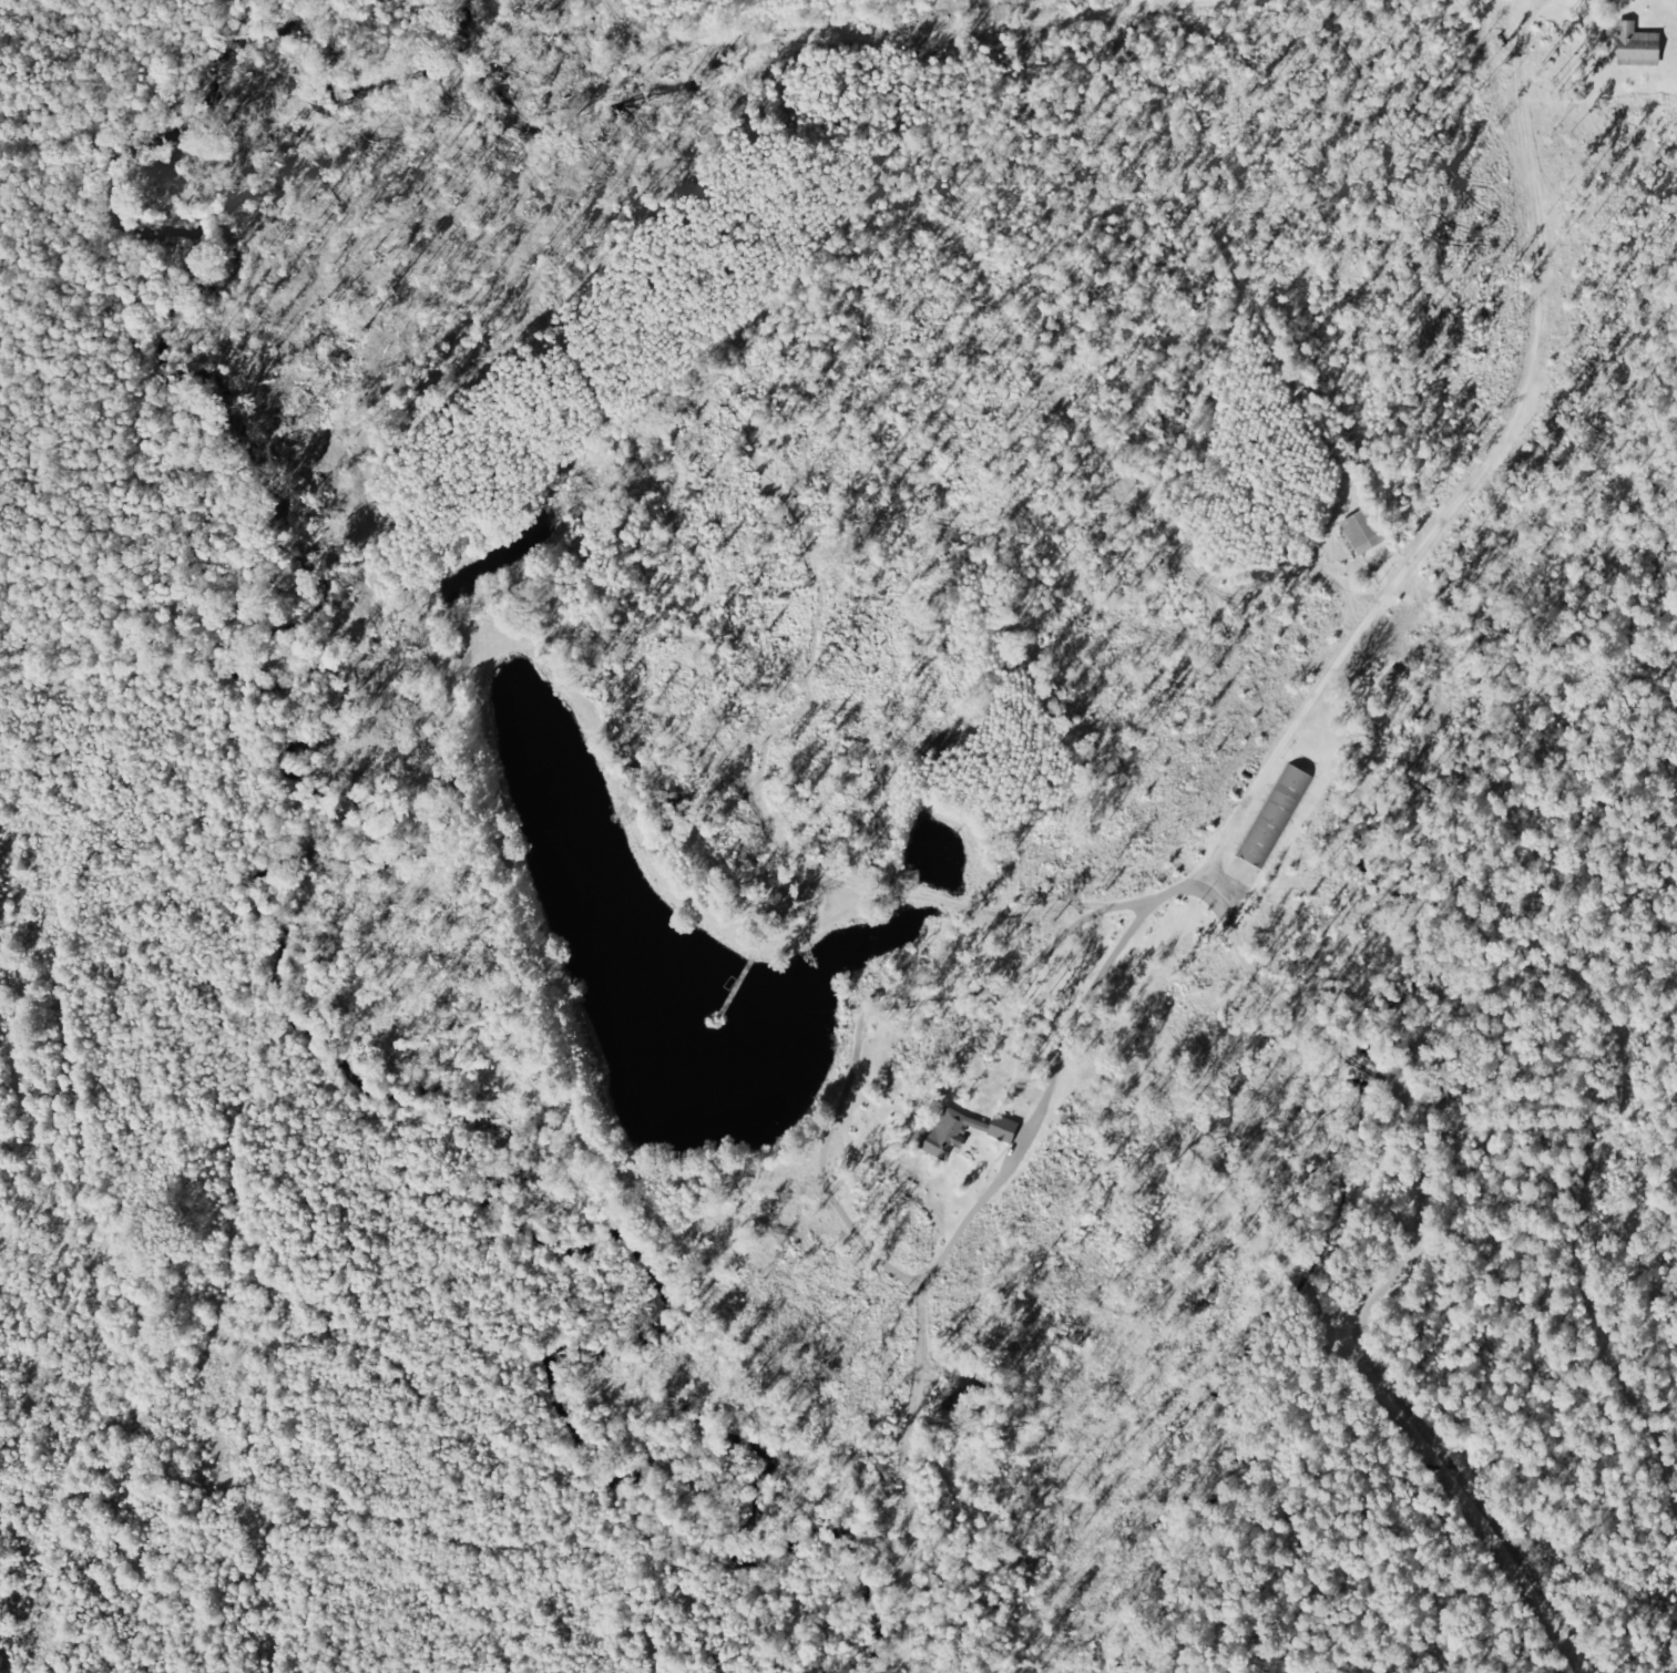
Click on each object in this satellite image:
building: (1643, 48)
building: (1368, 532)
building: (1279, 815)
building: (962, 1133)
road: (1425, 1622)
road: (1319, 1667)

